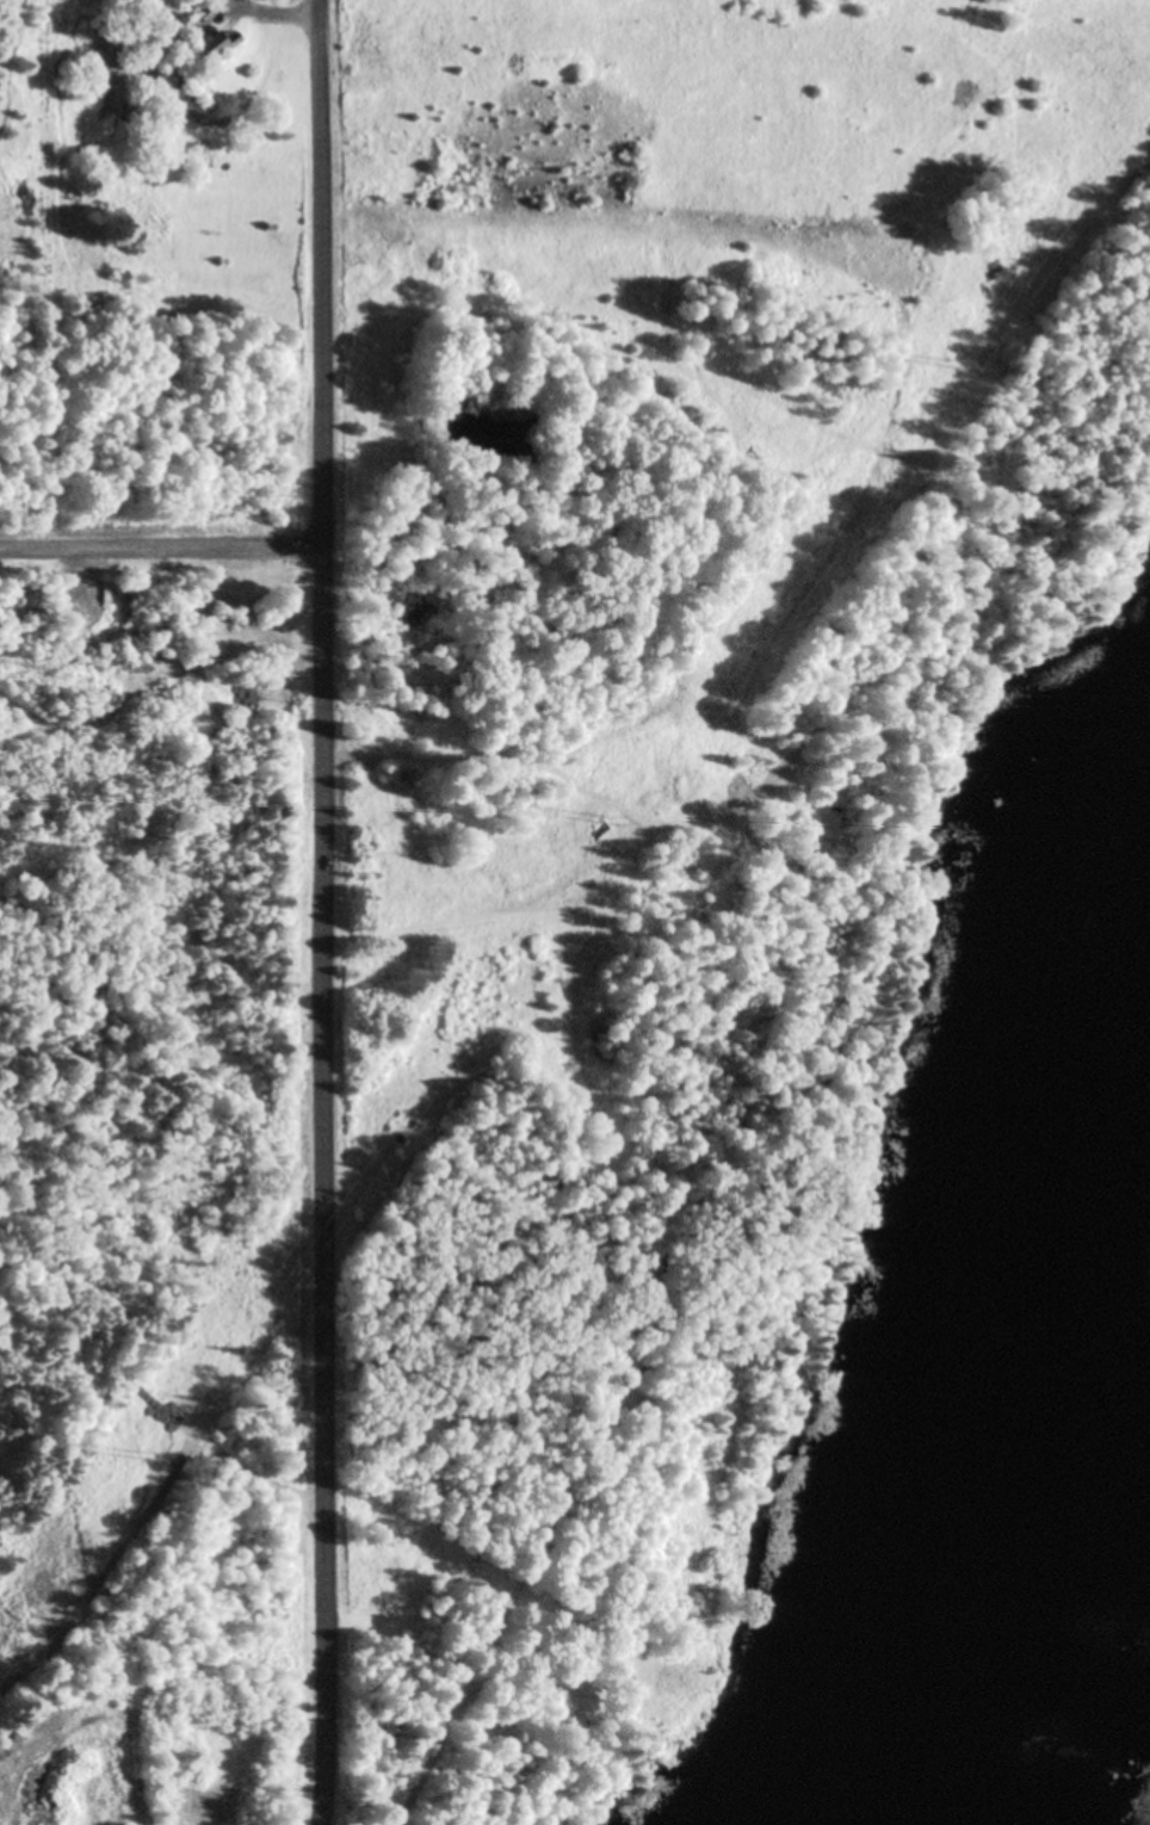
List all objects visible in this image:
building: (210, 48)
power tower: (951, 364)
road: (159, 547)
power tower: (613, 822)
road: (320, 912)
river: (1024, 1452)
power tower: (141, 1460)
building: (668, 1678)
park: (157, 1740)

